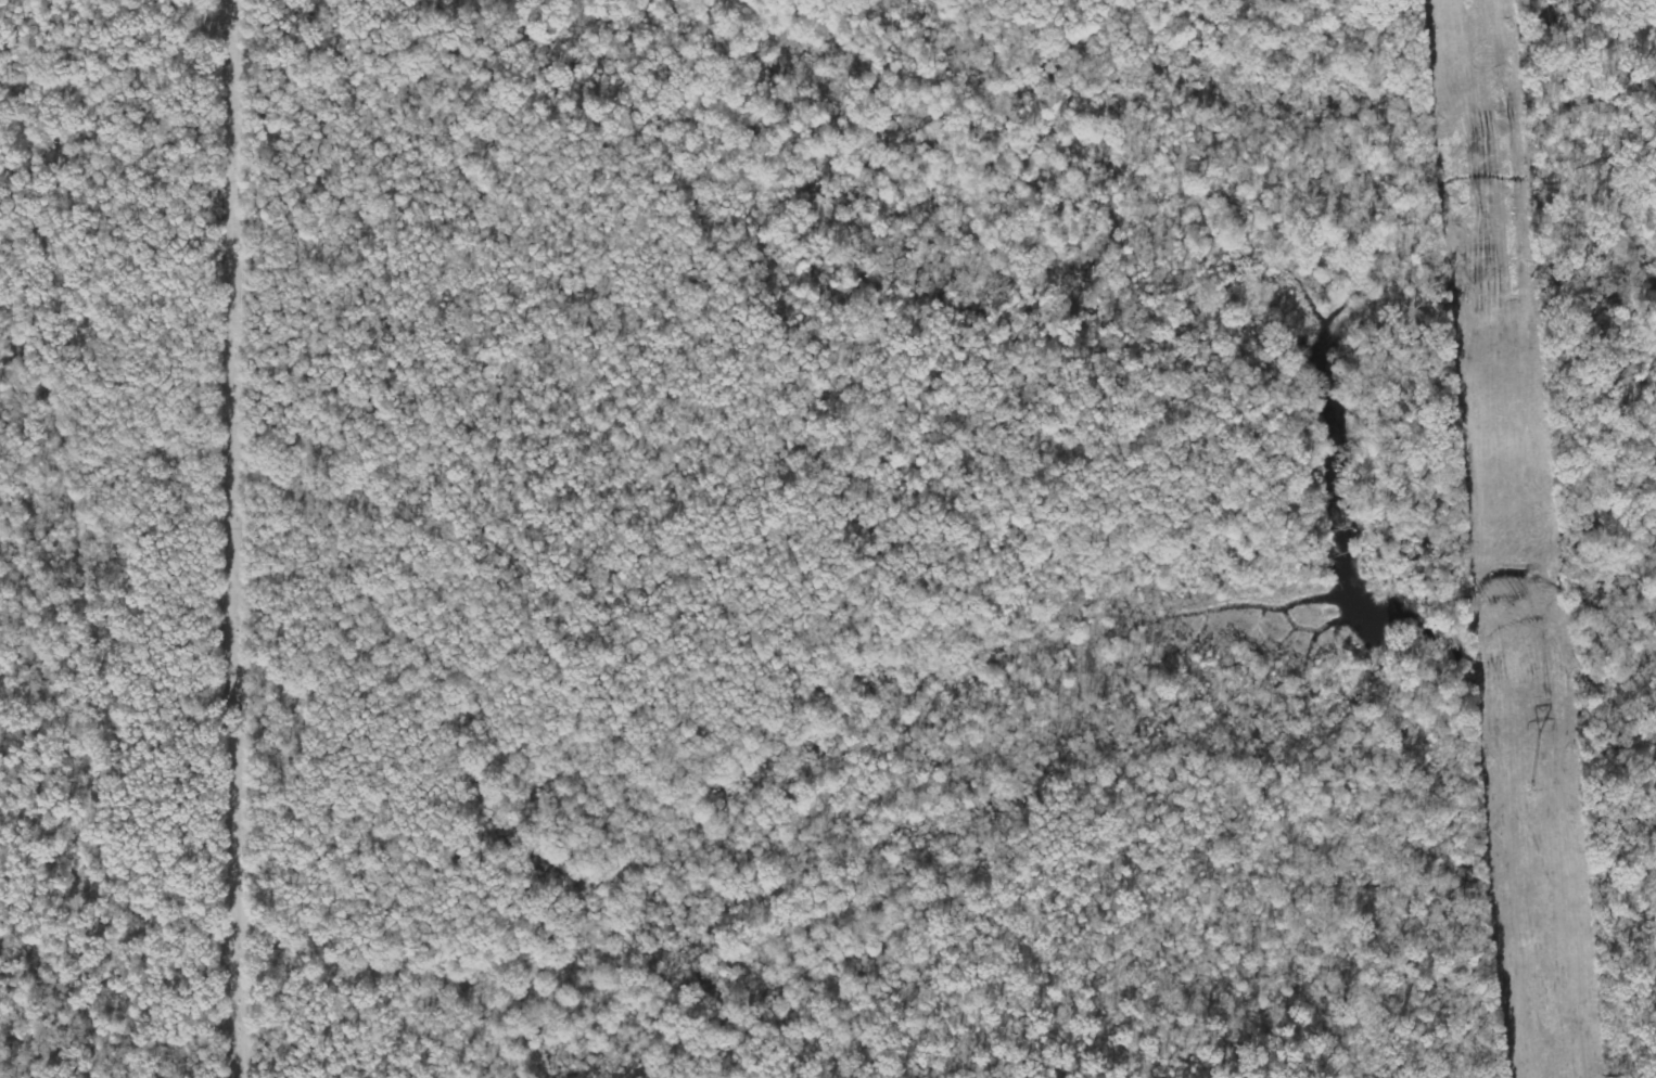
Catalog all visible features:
power tower: (1532, 787)

